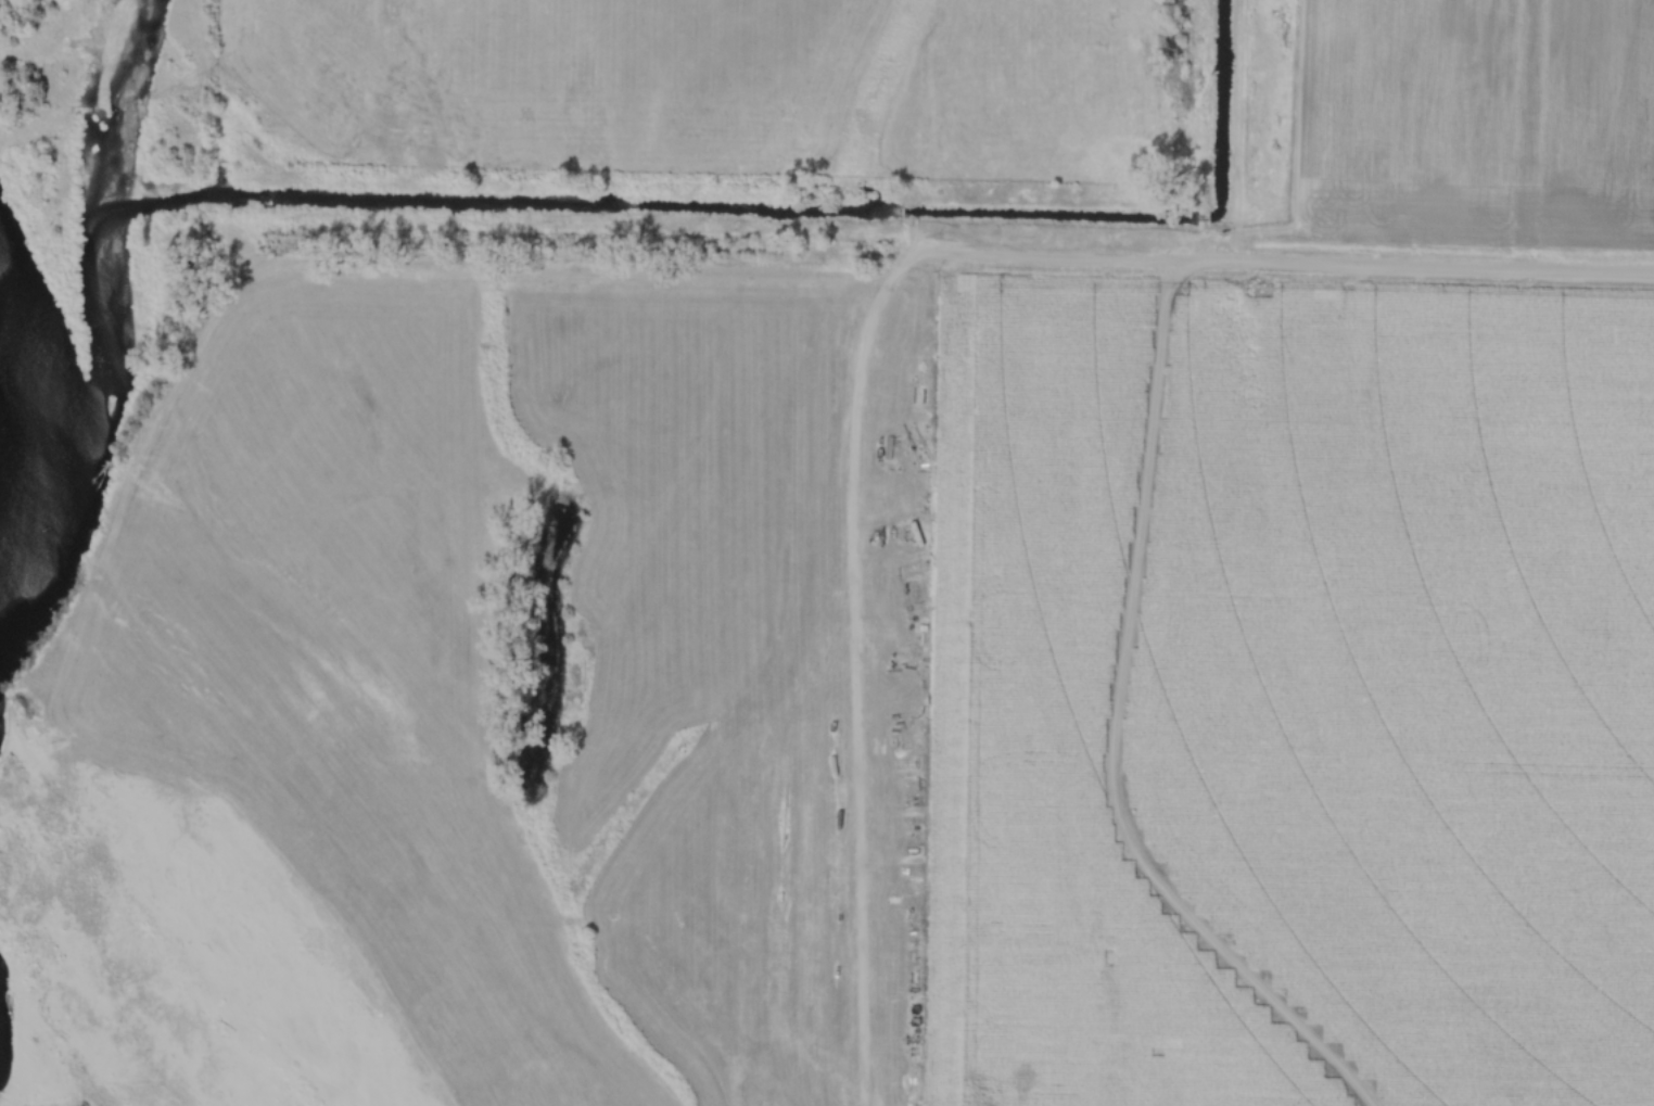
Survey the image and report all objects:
road: (1525, 137)
road: (943, 263)
road: (1120, 728)

